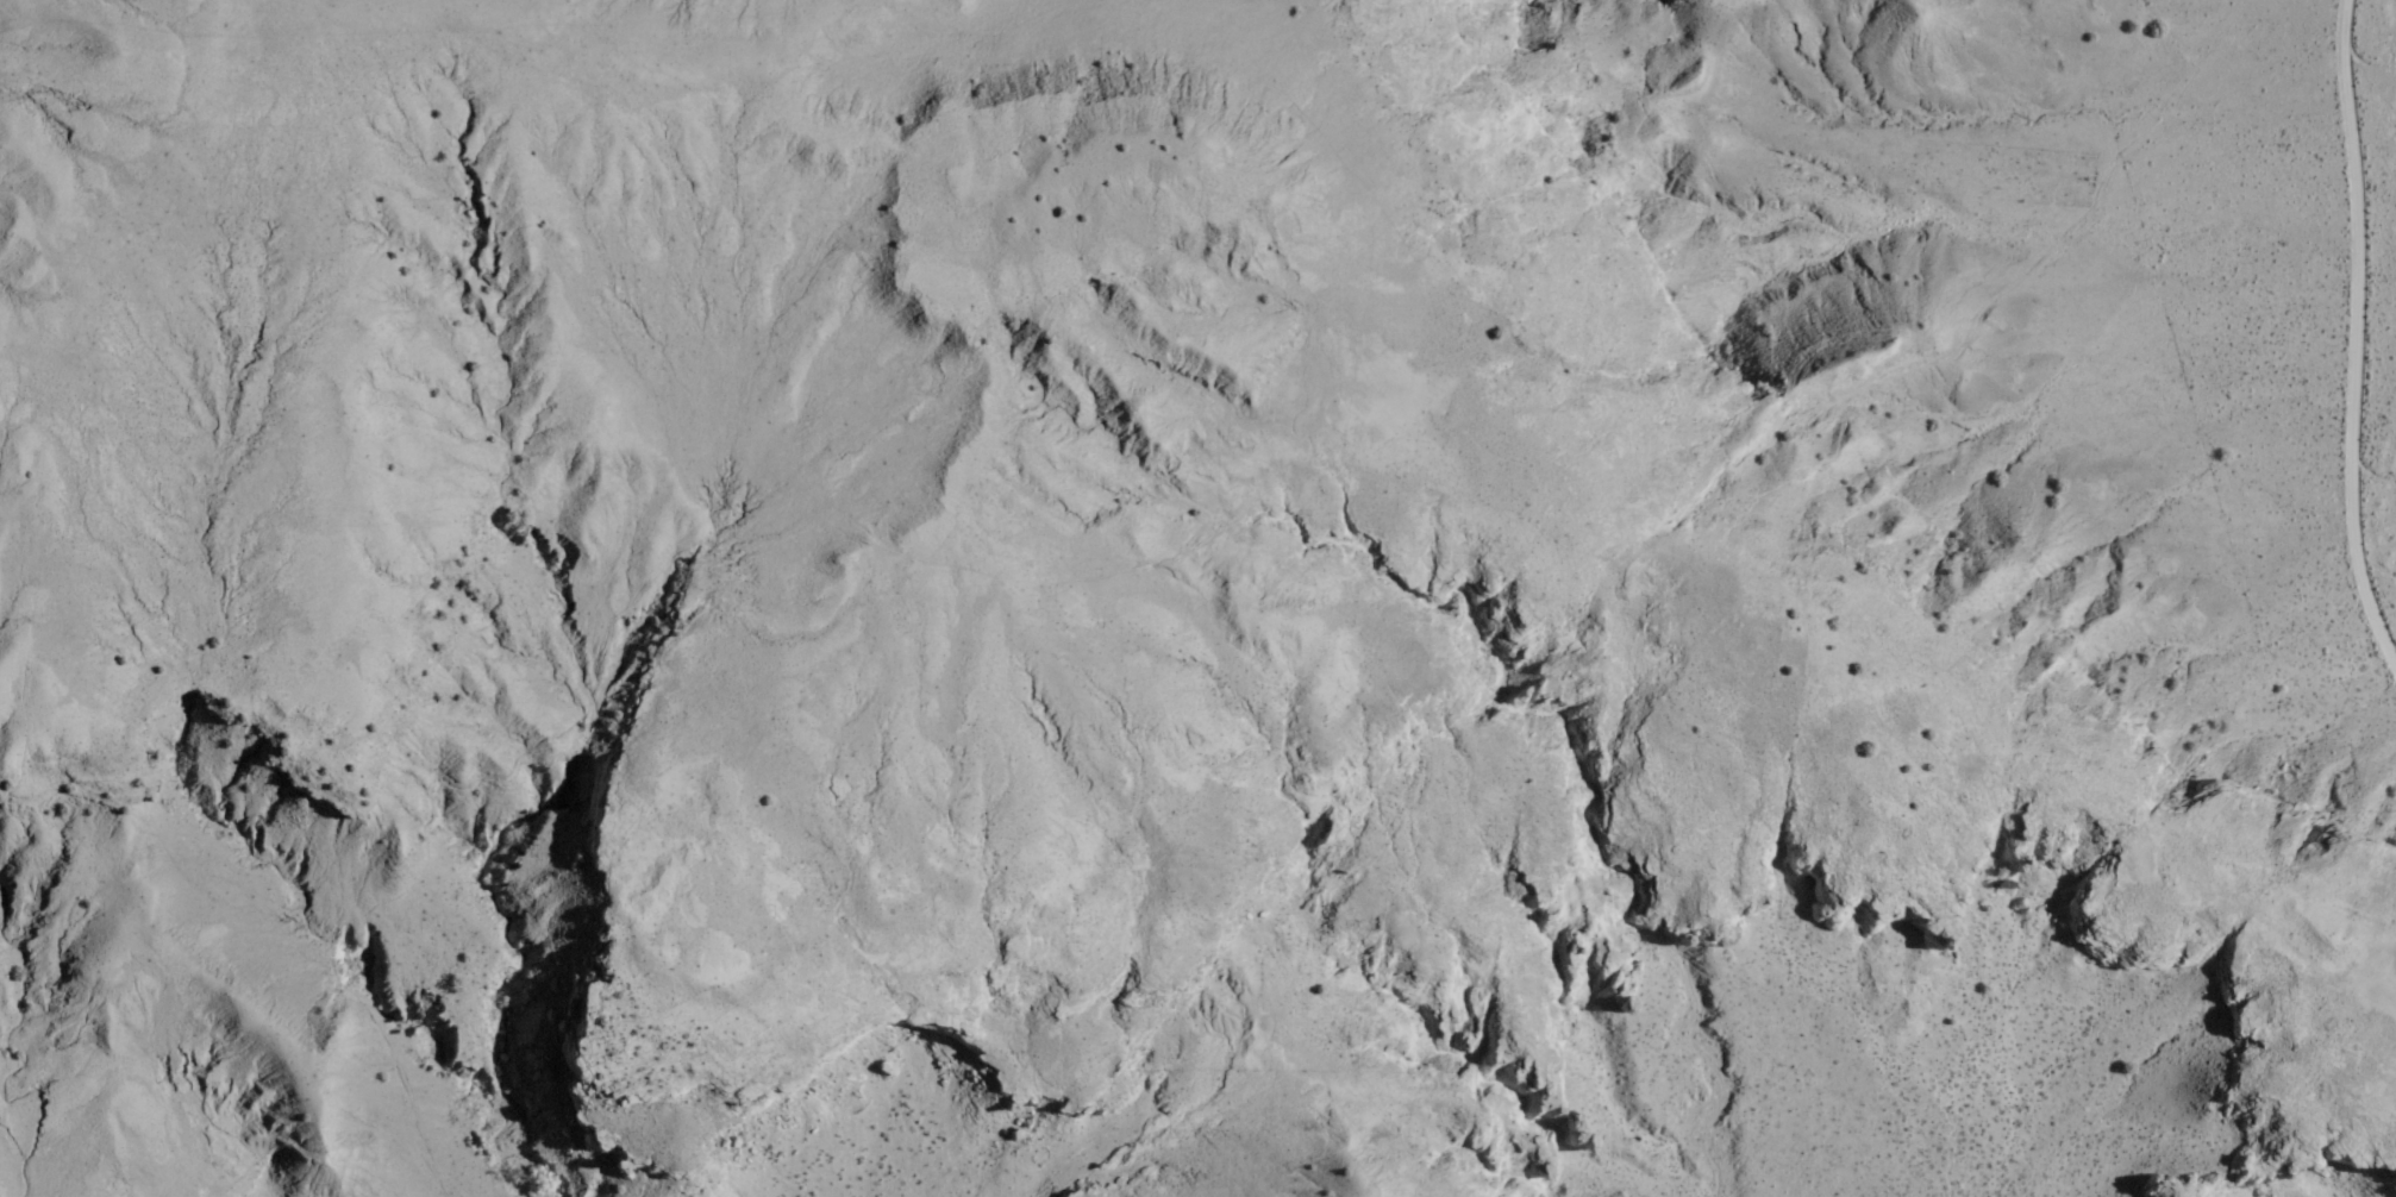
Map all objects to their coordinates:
park: (2023, 175)
road: (2353, 338)

